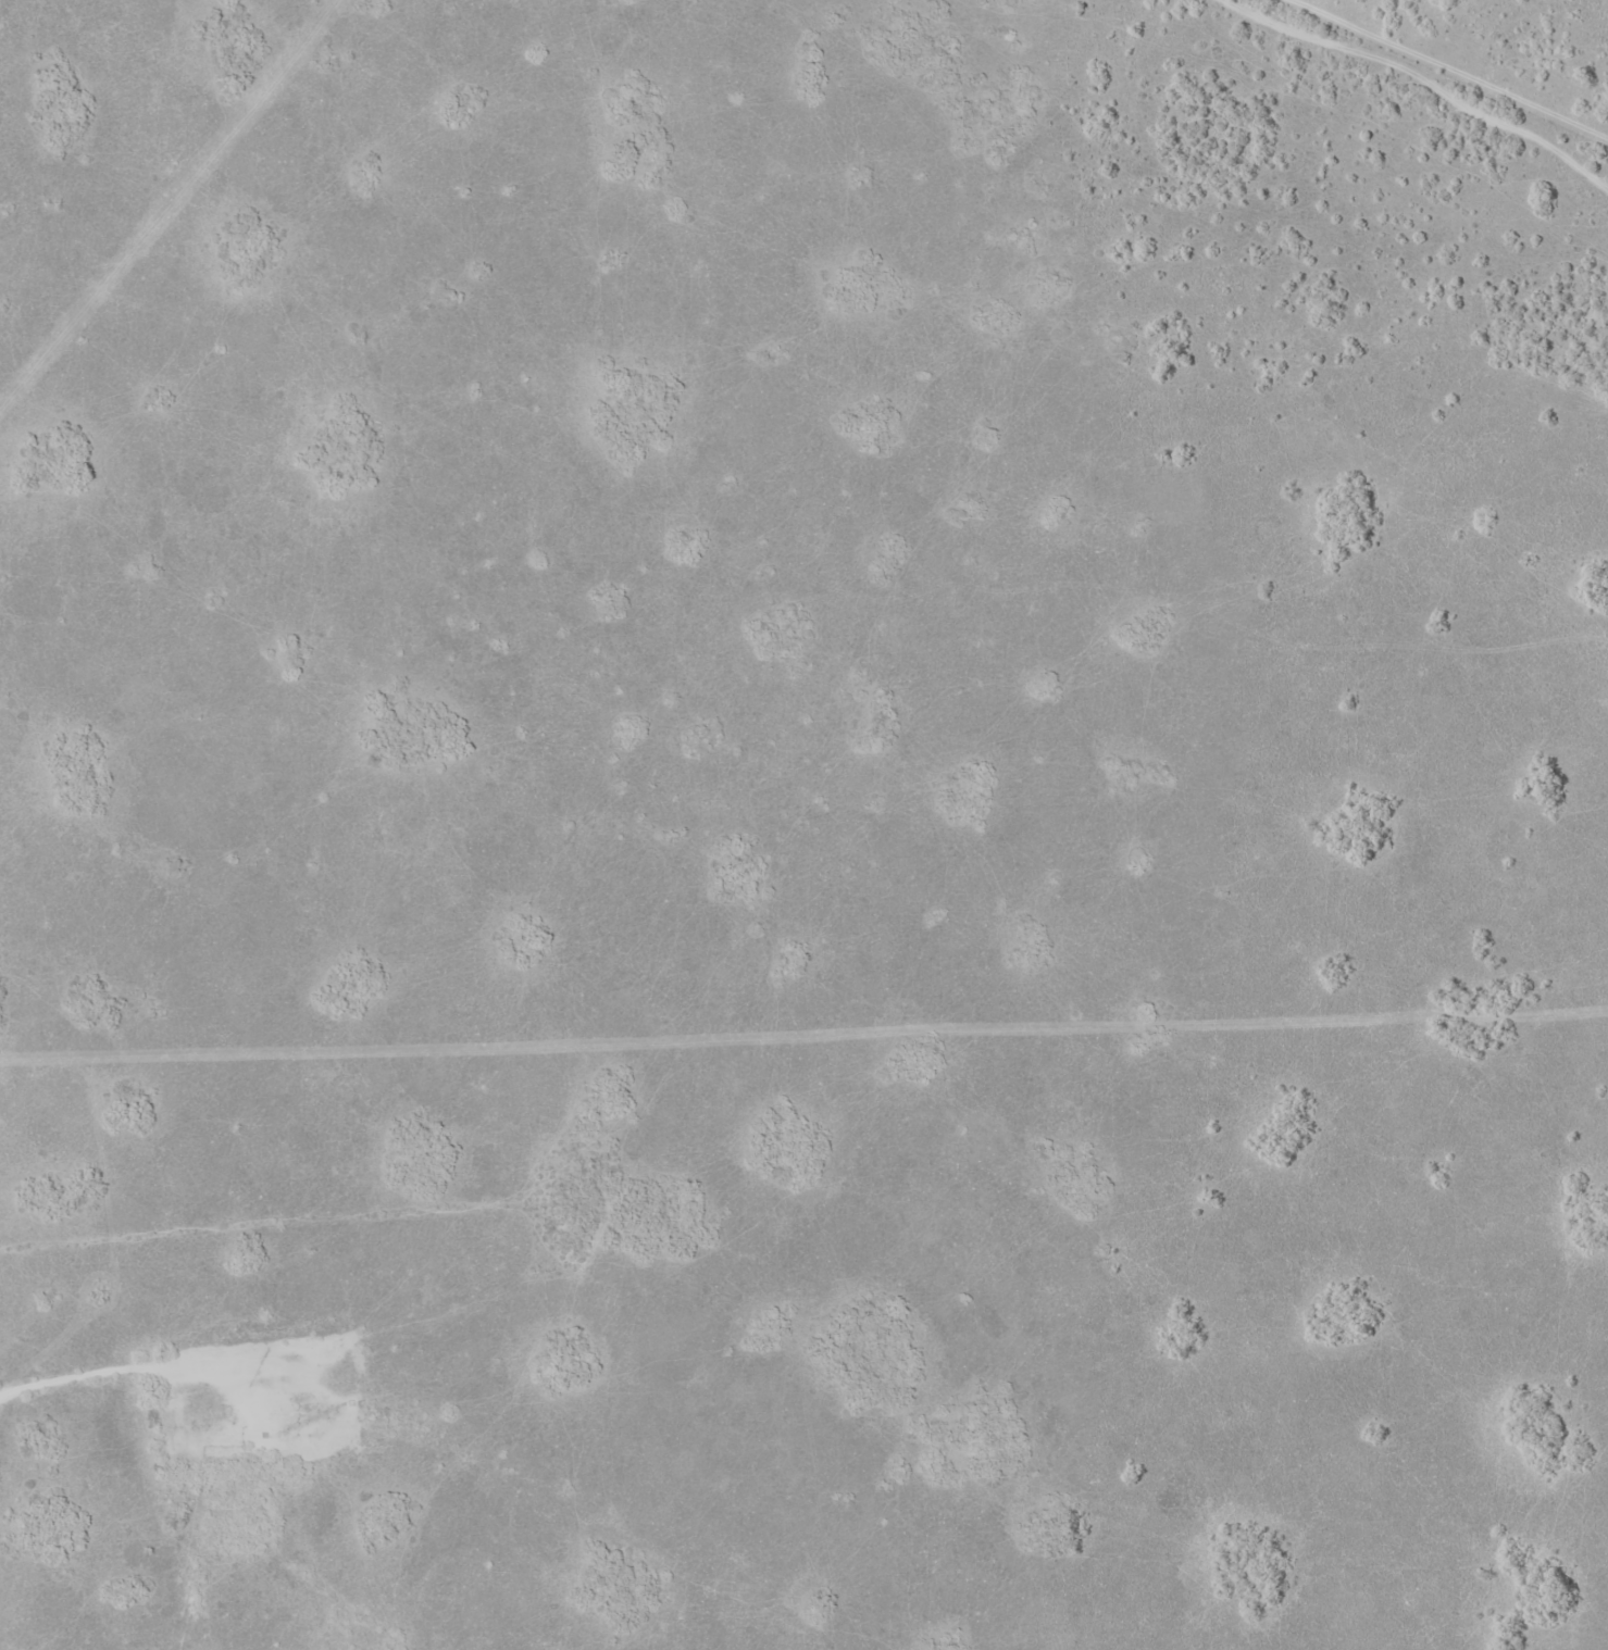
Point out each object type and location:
road: (262, 1230)

